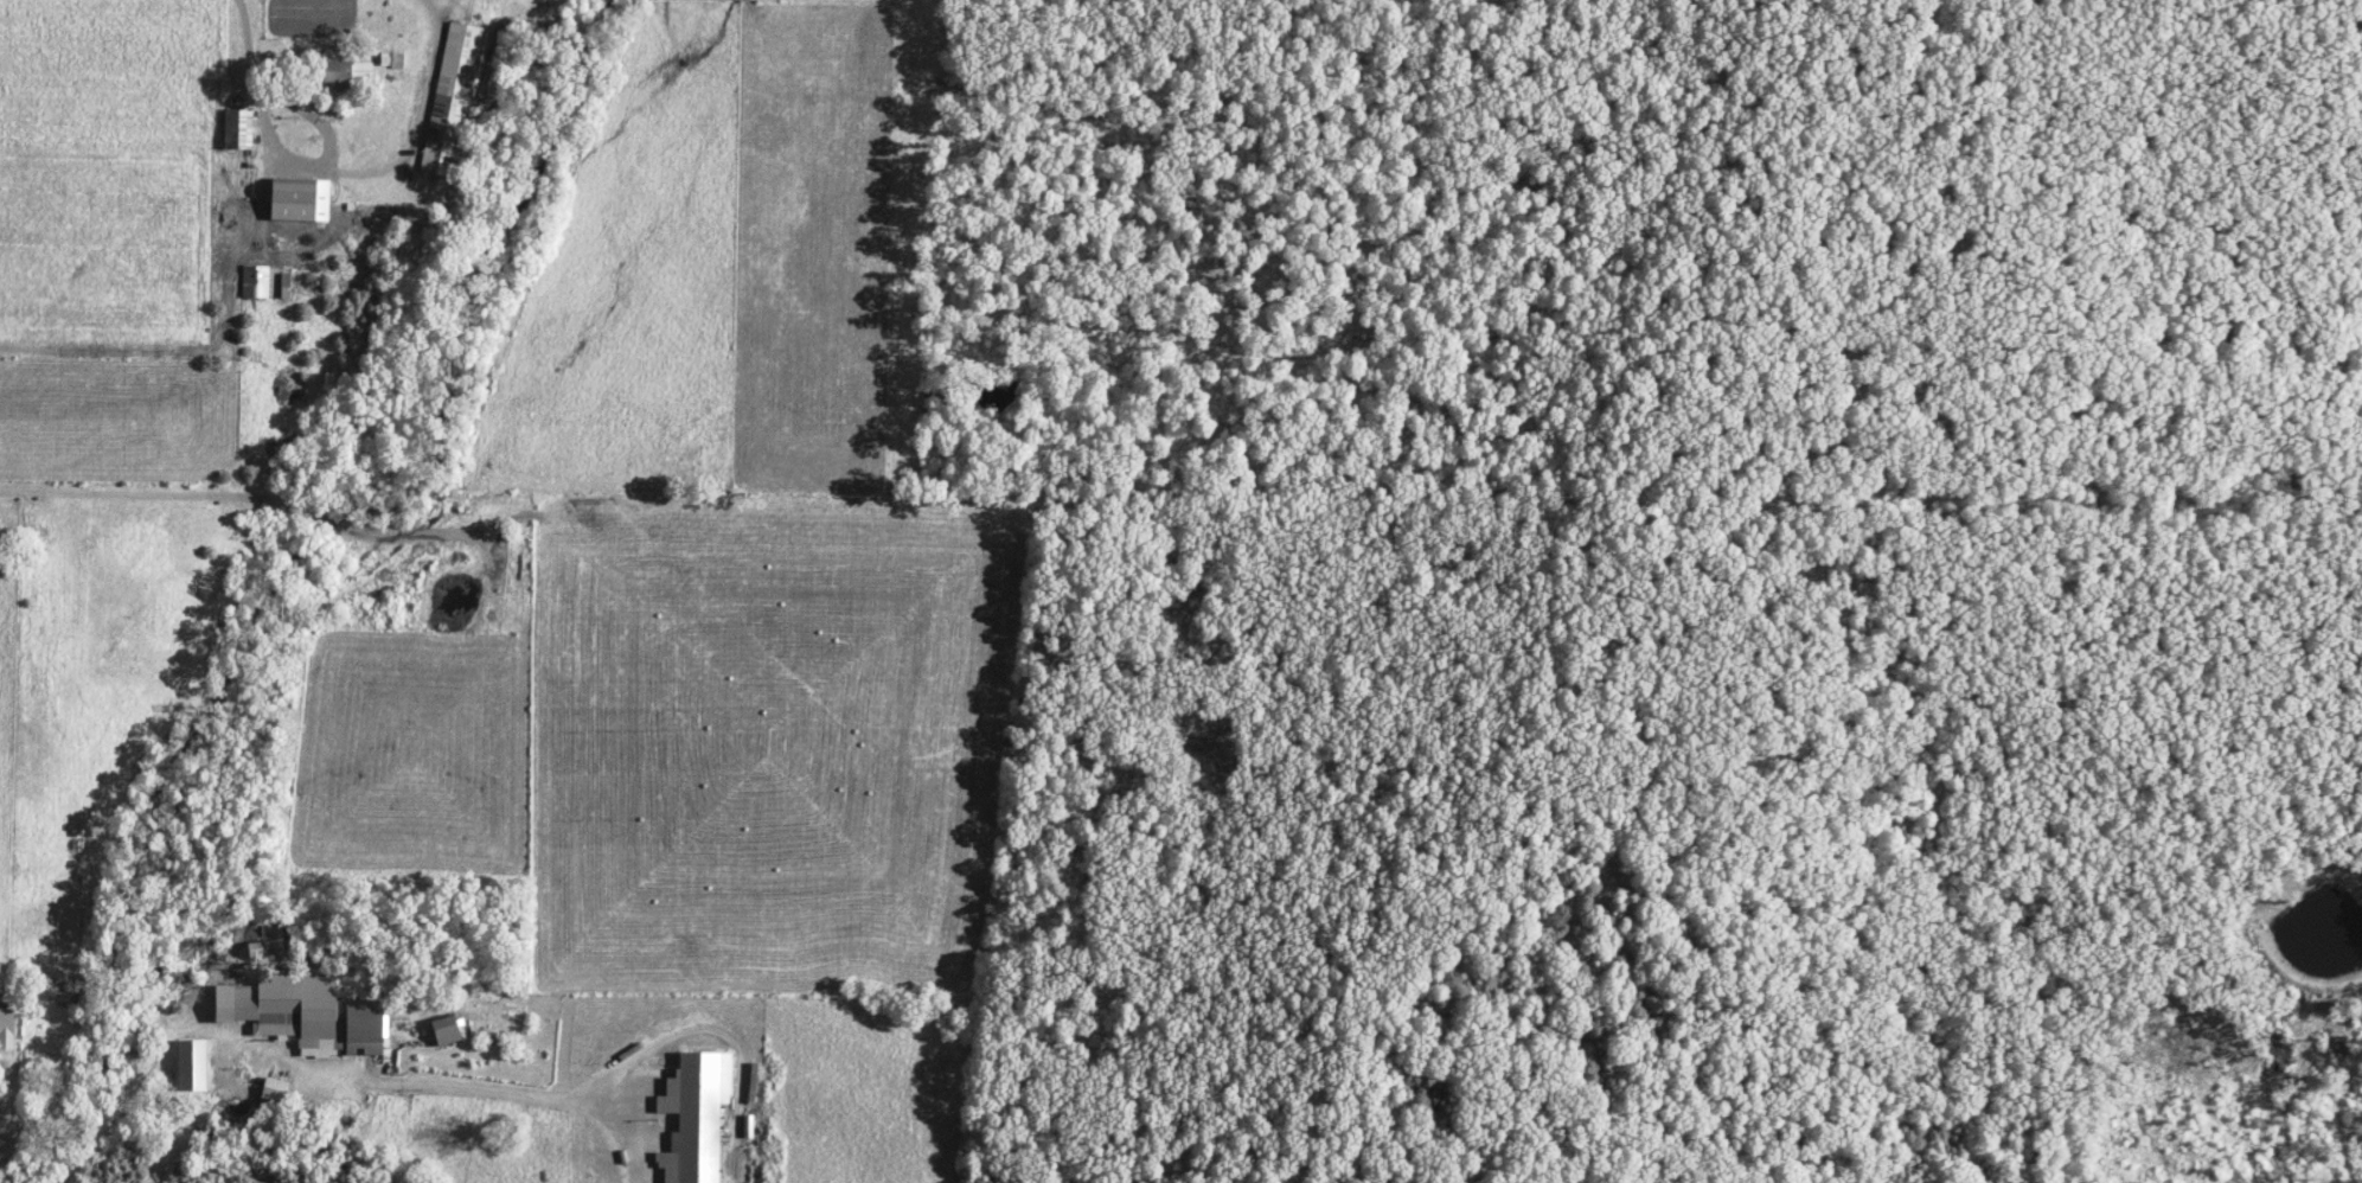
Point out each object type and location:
road: (247, 44)
building: (448, 97)
building: (235, 129)
building: (296, 202)
building: (255, 282)
building: (283, 282)
road: (536, 543)
building: (302, 1017)
road: (449, 1023)
building: (4, 1030)
building: (441, 1032)
road: (1577, 1034)
building: (188, 1067)
building: (273, 1091)
building: (693, 1117)
road: (1220, 1179)

